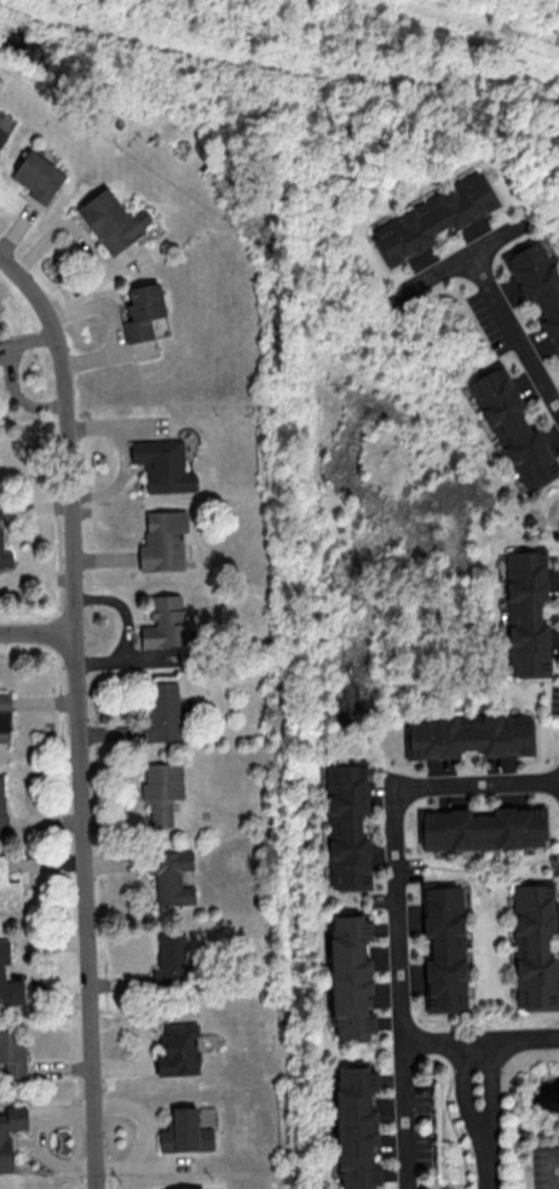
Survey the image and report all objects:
building: (2, 136)
building: (38, 176)
building: (433, 217)
building: (111, 219)
building: (537, 282)
building: (142, 310)
road: (513, 333)
building: (513, 427)
building: (162, 464)
building: (2, 519)
building: (162, 540)
building: (526, 613)
building: (165, 622)
road: (39, 632)
building: (161, 711)
road: (79, 712)
building: (4, 716)
building: (467, 735)
building: (161, 789)
building: (1, 805)
building: (347, 826)
building: (483, 827)
building: (171, 875)
building: (8, 894)
road: (397, 914)
building: (534, 946)
building: (444, 947)
building: (171, 959)
building: (350, 977)
building: (8, 980)
building: (178, 1049)
building: (12, 1052)
road: (446, 1102)
road: (407, 1113)
road: (489, 1120)
building: (356, 1127)
building: (185, 1132)
building: (5, 1150)
road: (436, 1185)

